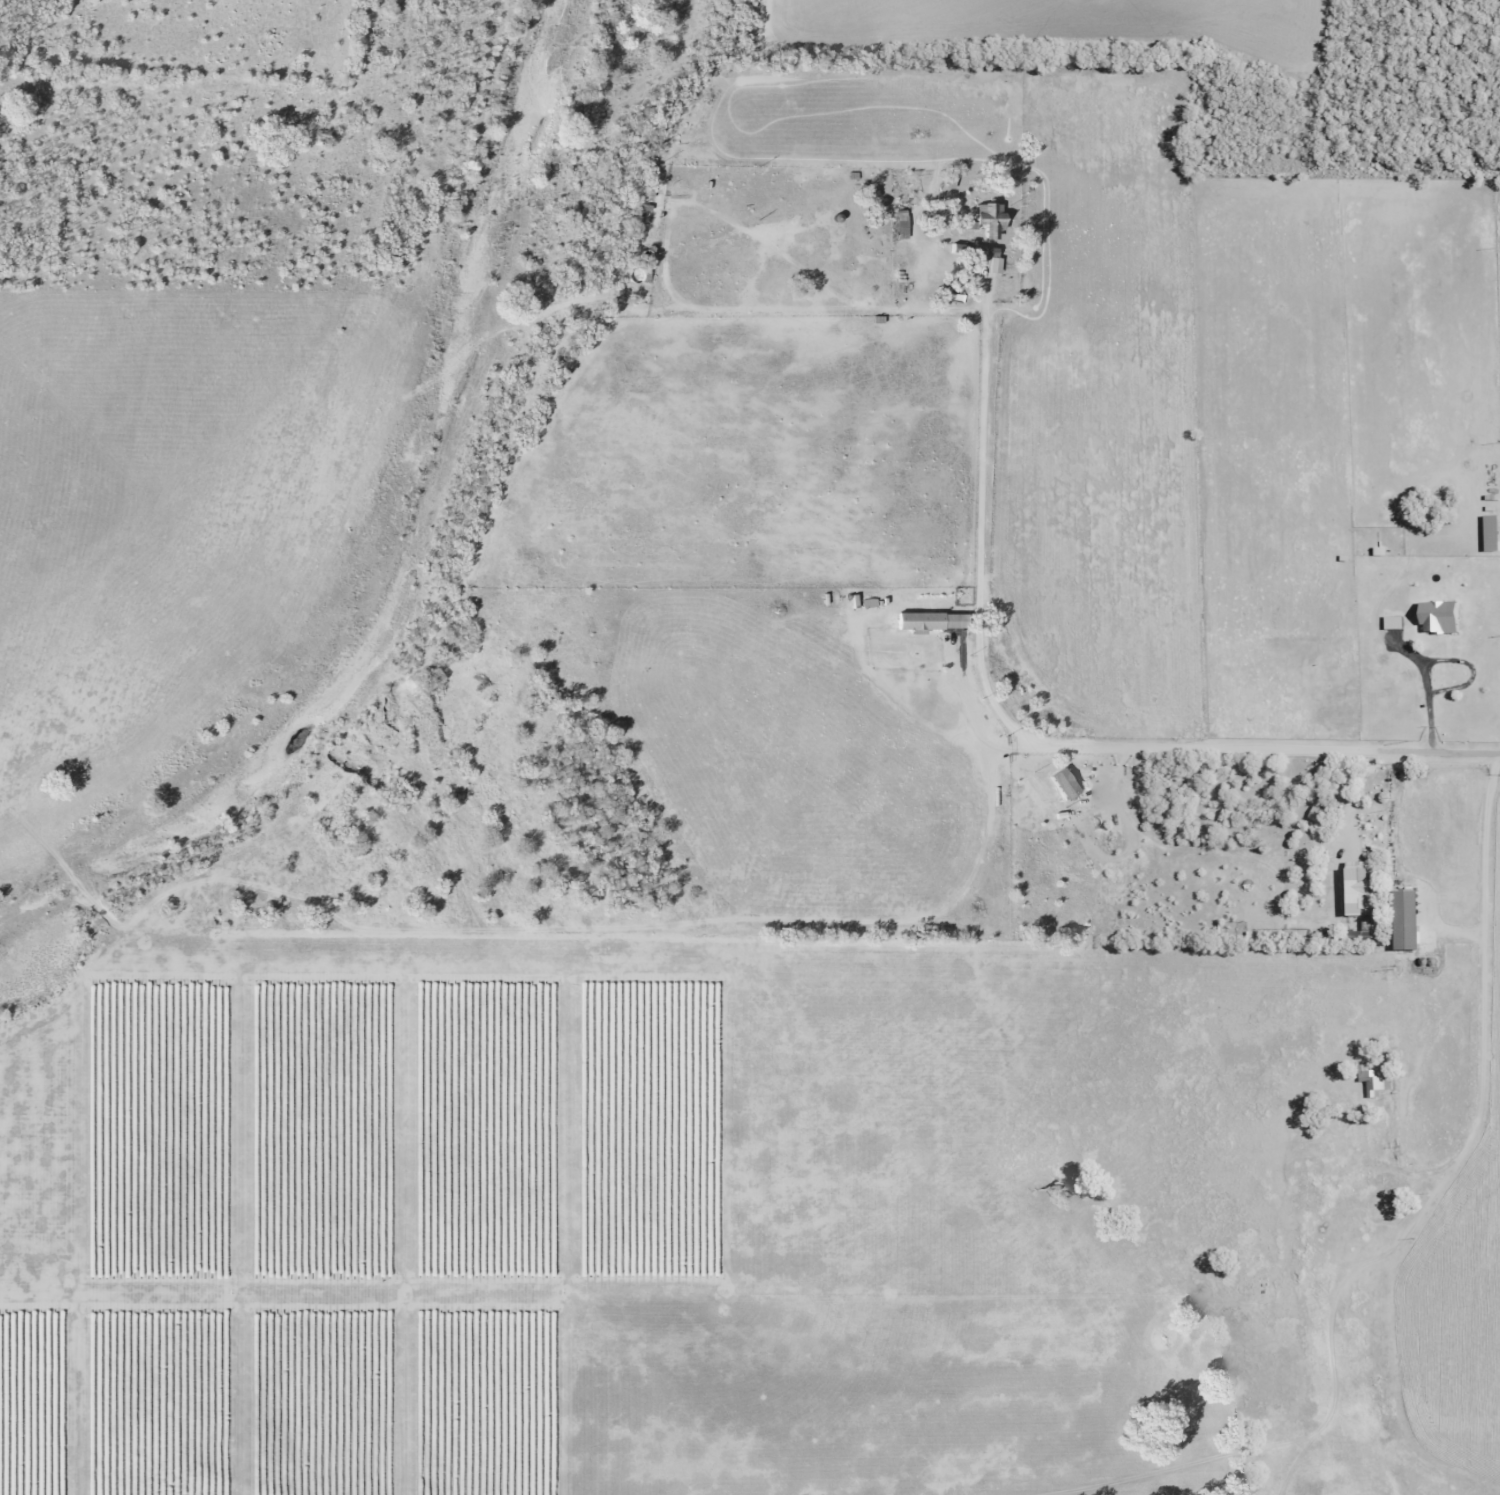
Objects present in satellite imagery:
road: (982, 600)
building: (918, 620)
road: (1440, 656)
building: (1467, 671)
road: (1493, 789)
building: (1354, 887)
building: (1403, 918)
building: (1367, 929)
road: (1489, 962)
building: (1380, 1081)

